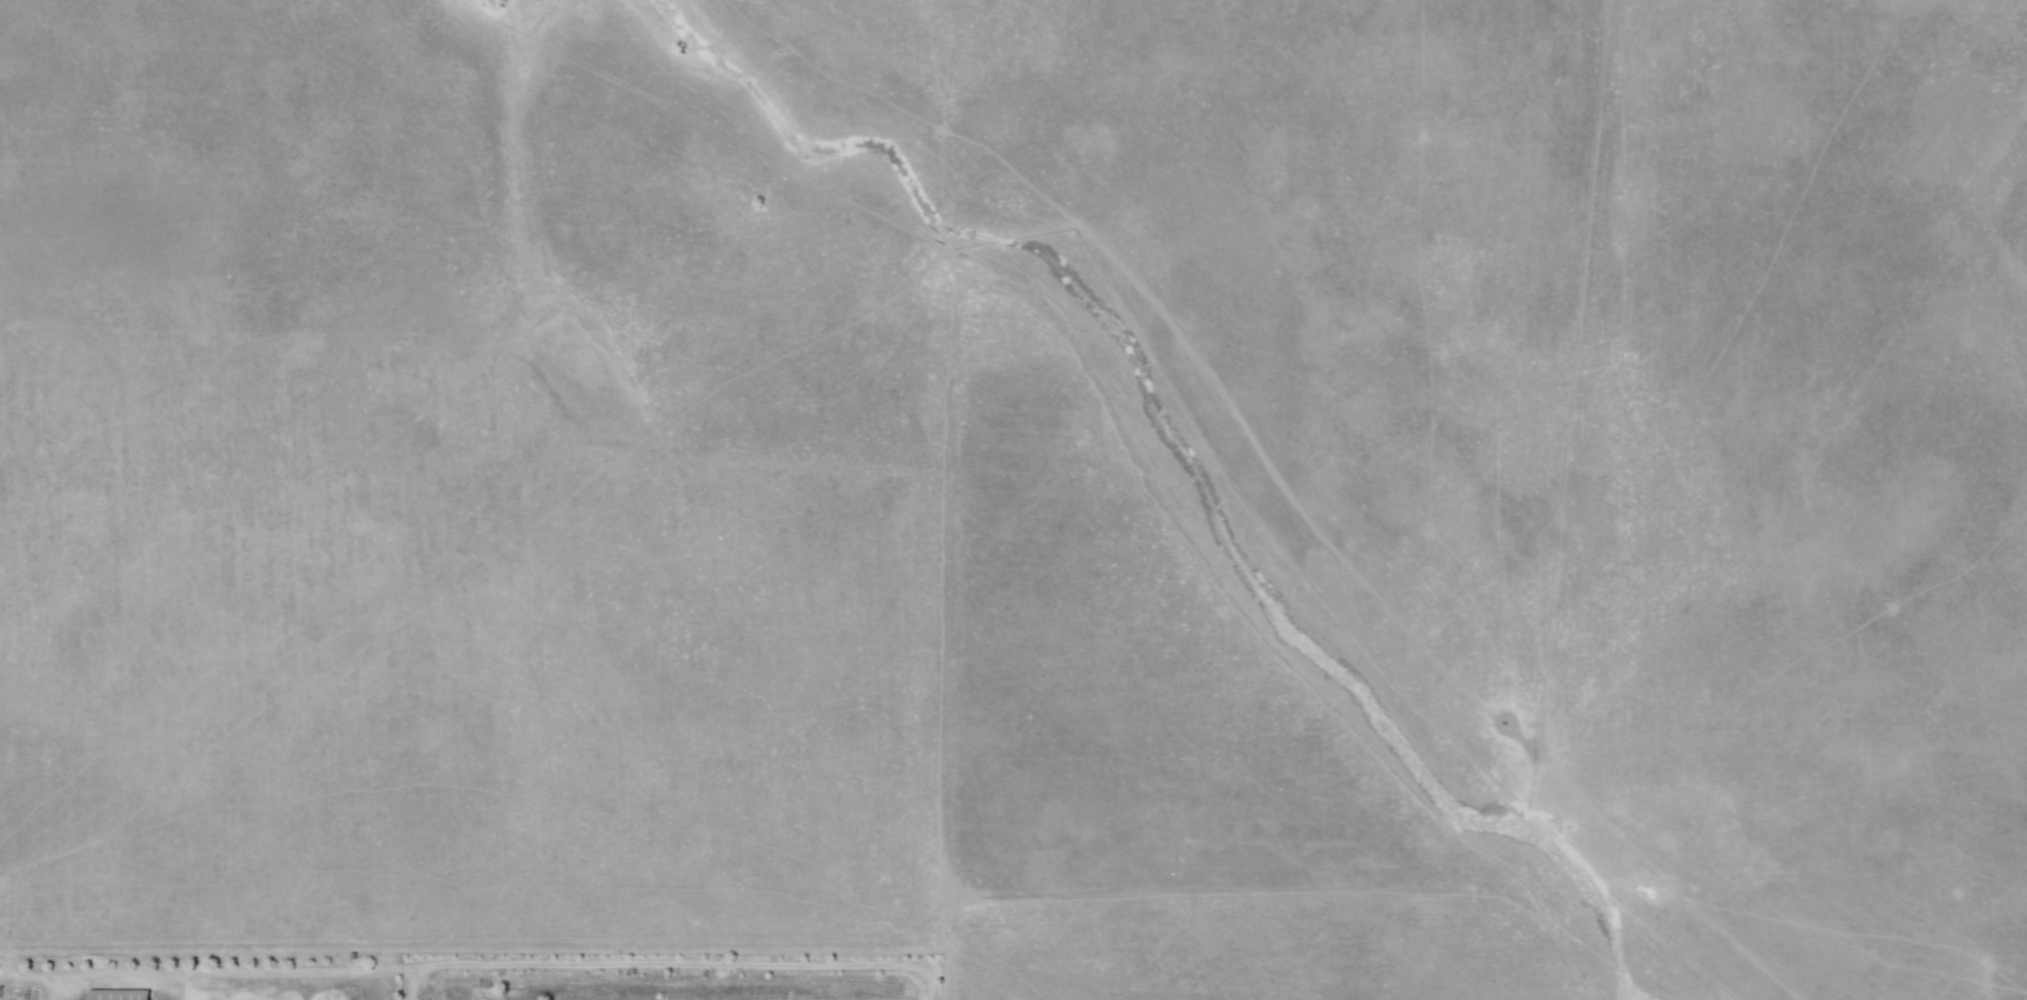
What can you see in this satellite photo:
crop: (1086, 544)
building: (117, 993)

